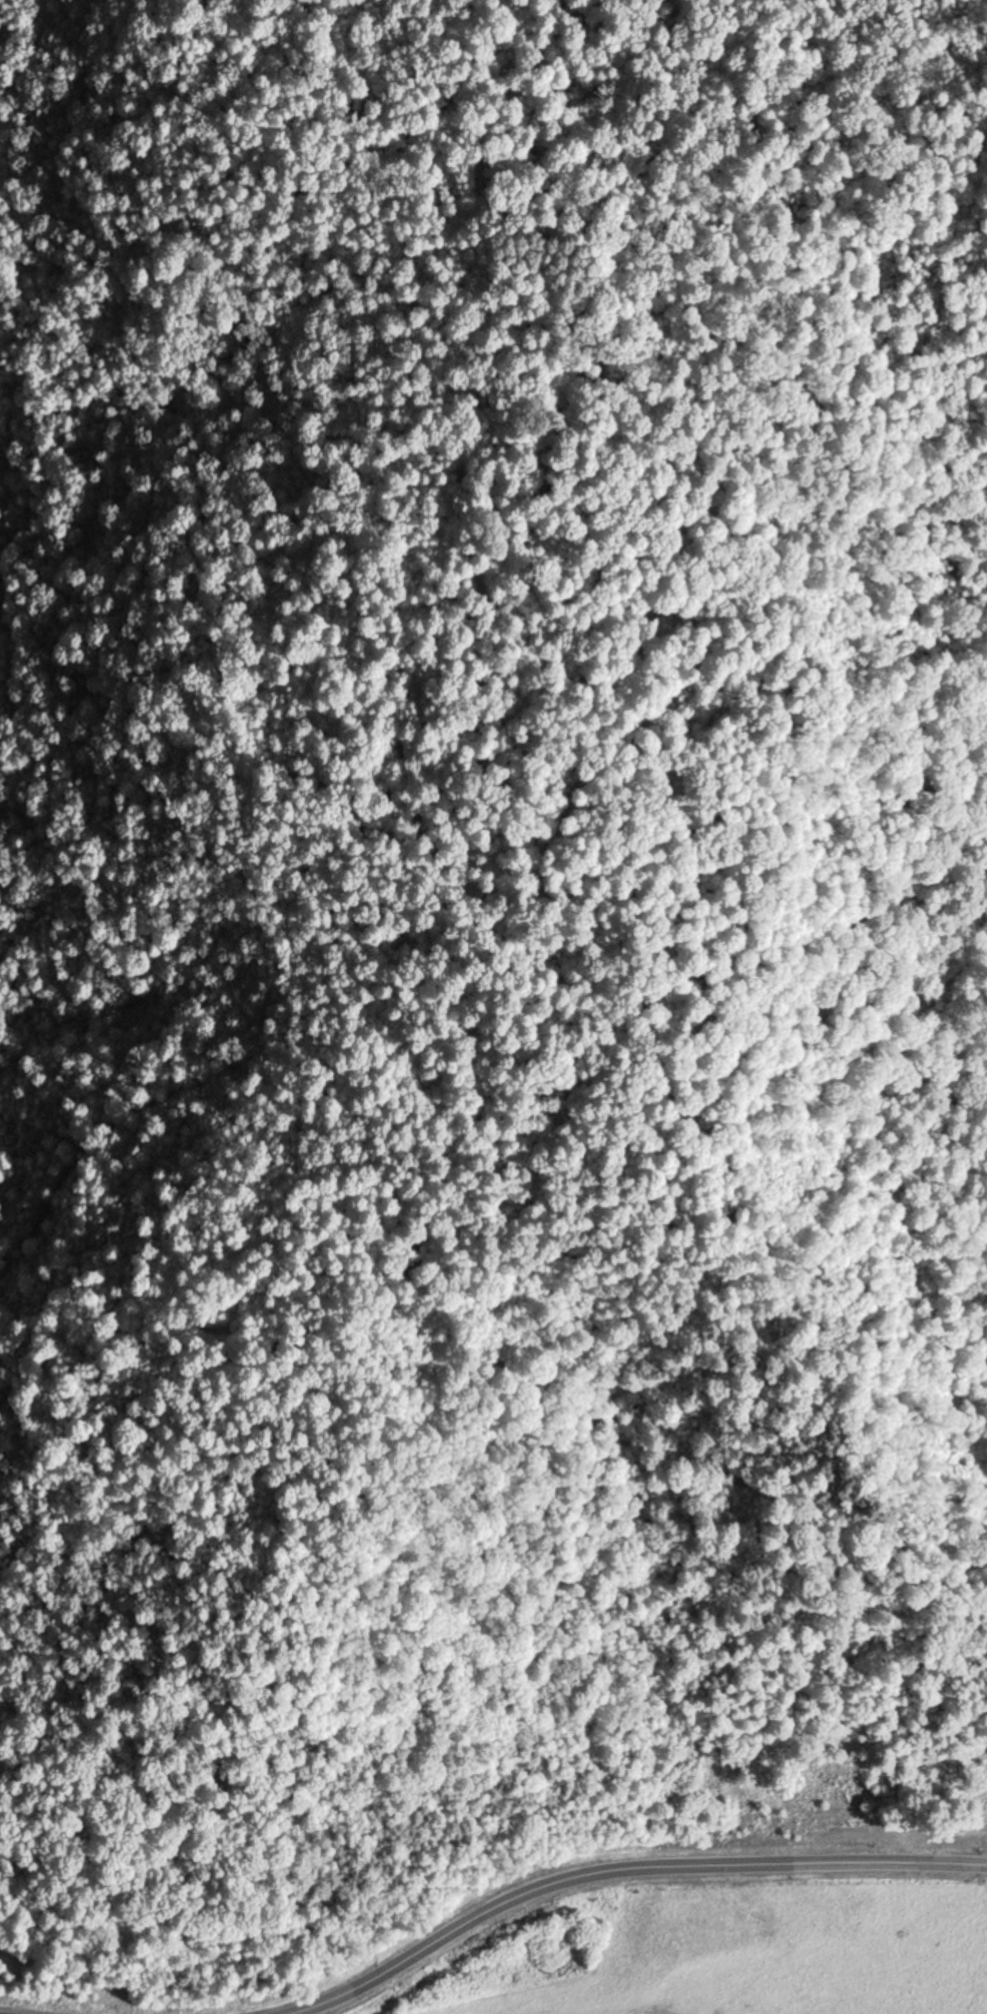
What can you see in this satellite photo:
road: (623, 1869)

